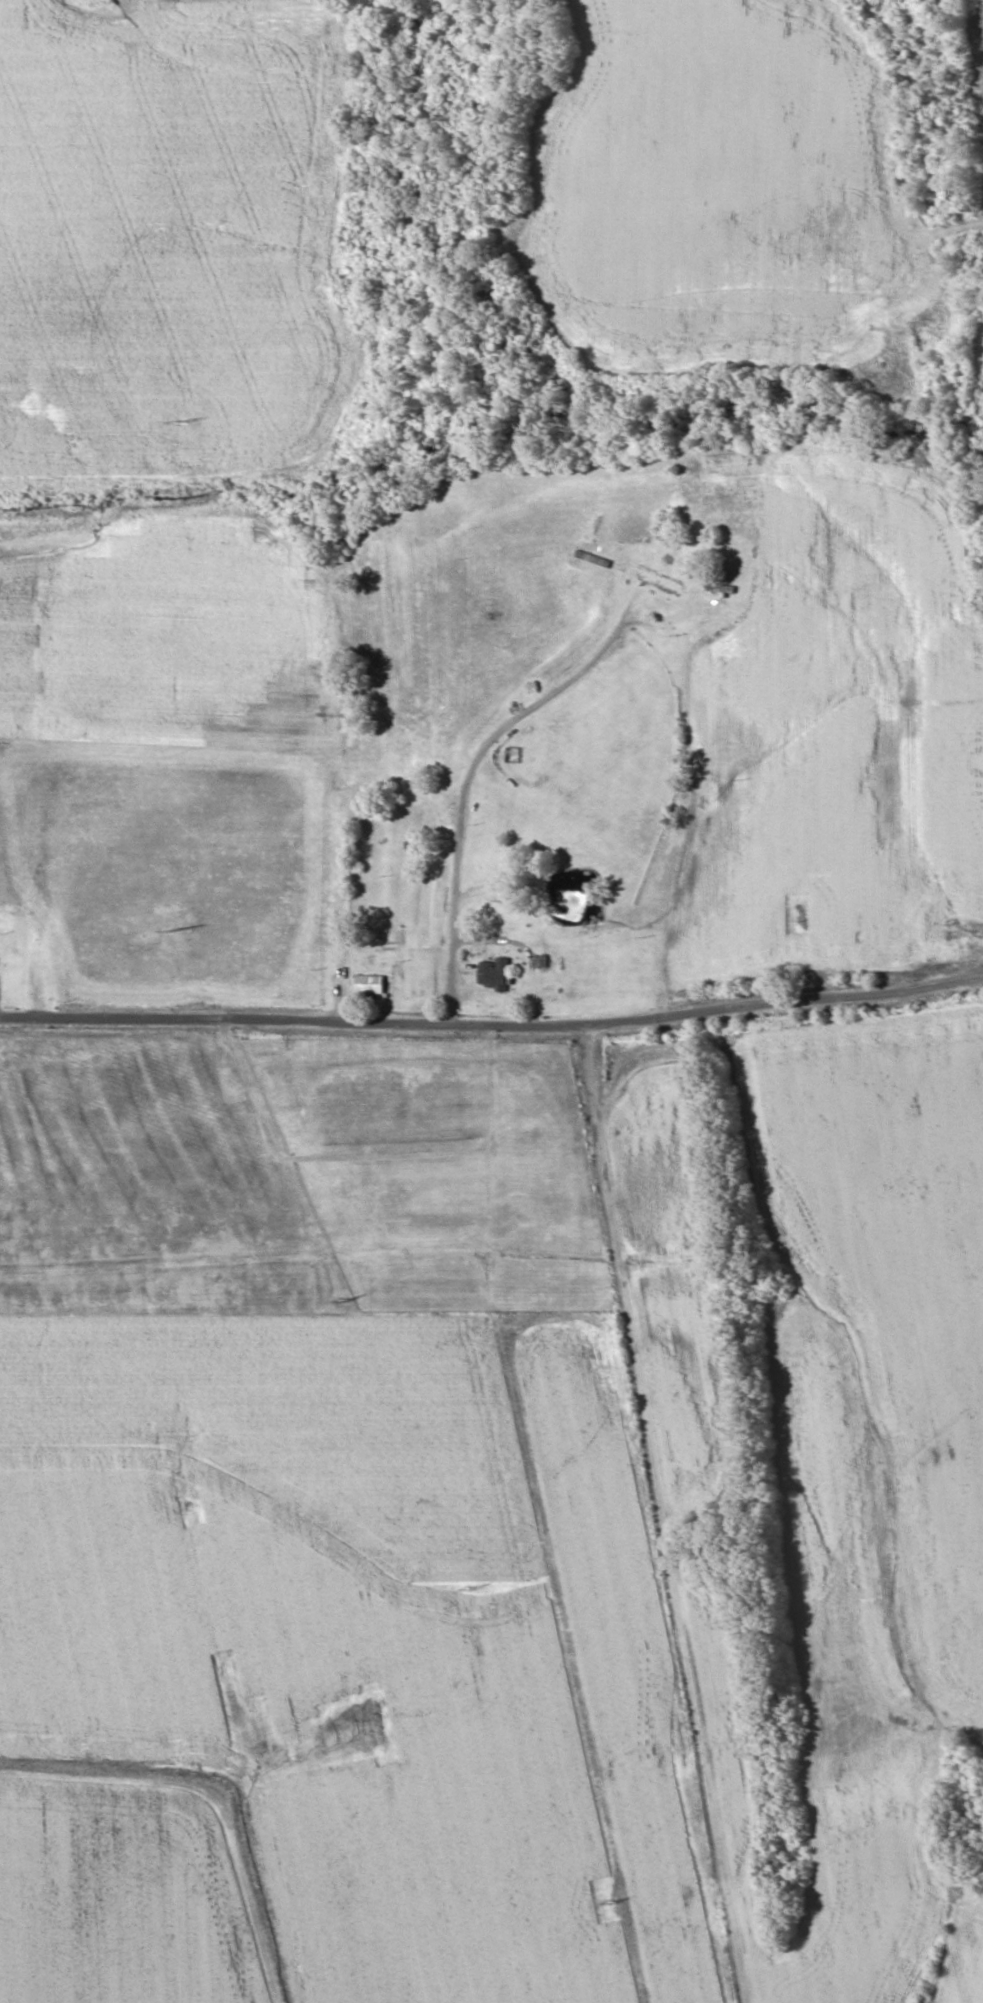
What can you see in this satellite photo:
building: (661, 584)
building: (720, 591)
road: (525, 941)
building: (494, 976)
building: (369, 985)
road: (492, 1022)

